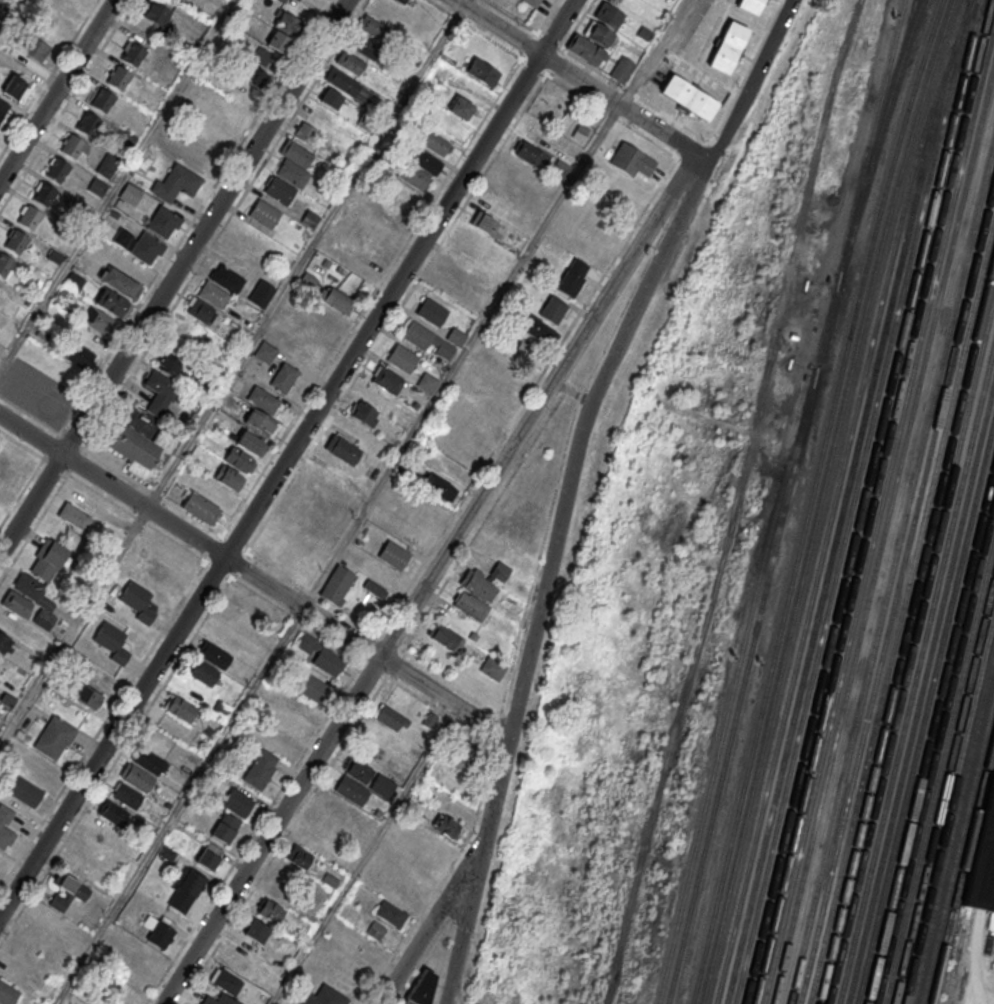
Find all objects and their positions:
building: (283, 0)
building: (399, 1)
building: (532, 3)
building: (750, 6)
building: (63, 7)
building: (155, 12)
building: (608, 14)
building: (286, 22)
building: (374, 27)
building: (278, 41)
building: (592, 43)
building: (364, 46)
building: (35, 48)
building: (728, 48)
road: (661, 53)
road: (514, 54)
building: (133, 55)
building: (260, 57)
building: (349, 62)
building: (622, 69)
building: (483, 72)
building: (254, 75)
road: (48, 77)
building: (119, 79)
road: (753, 79)
road: (580, 80)
building: (341, 81)
building: (15, 87)
road: (56, 90)
building: (330, 98)
park: (550, 99)
building: (689, 99)
building: (102, 101)
road: (66, 105)
building: (459, 107)
building: (3, 108)
building: (88, 124)
building: (307, 135)
building: (436, 143)
railway: (874, 143)
railway: (868, 144)
building: (73, 147)
building: (295, 152)
building: (530, 153)
building: (631, 159)
building: (107, 165)
building: (57, 170)
building: (419, 171)
building: (292, 173)
building: (175, 183)
road: (115, 184)
building: (96, 187)
building: (279, 190)
building: (129, 194)
building: (401, 194)
building: (43, 195)
building: (377, 205)
building: (263, 213)
road: (195, 216)
building: (29, 218)
building: (162, 221)
building: (482, 233)
building: (16, 243)
building: (146, 247)
road: (306, 254)
building: (4, 266)
building: (455, 275)
road: (173, 276)
building: (572, 276)
building: (226, 278)
building: (307, 280)
building: (73, 281)
building: (120, 283)
building: (213, 293)
building: (261, 293)
road: (181, 294)
building: (334, 298)
building: (111, 302)
building: (552, 309)
building: (201, 311)
building: (431, 312)
building: (99, 320)
building: (540, 331)
building: (433, 340)
building: (513, 340)
building: (264, 351)
building: (78, 355)
building: (402, 357)
road: (462, 357)
building: (168, 364)
building: (479, 375)
building: (283, 376)
building: (387, 379)
building: (427, 382)
building: (160, 392)
building: (263, 399)
building: (364, 413)
road: (29, 414)
building: (261, 422)
building: (249, 442)
road: (21, 445)
building: (342, 448)
road: (82, 449)
building: (144, 450)
road: (288, 458)
building: (238, 459)
building: (228, 477)
building: (438, 487)
road: (21, 493)
railway: (833, 499)
railway: (808, 500)
railway: (819, 500)
railway: (851, 501)
railway: (860, 502)
railway: (871, 502)
building: (201, 507)
railway: (877, 512)
building: (73, 517)
road: (136, 518)
railway: (836, 526)
road: (34, 528)
railway: (882, 532)
road: (247, 553)
building: (394, 556)
building: (48, 560)
railway: (891, 568)
road: (550, 570)
building: (162, 574)
road: (433, 576)
road: (254, 577)
building: (337, 586)
building: (480, 590)
railway: (896, 590)
building: (30, 600)
building: (138, 602)
road: (325, 602)
railway: (900, 609)
road: (73, 623)
railway: (904, 628)
building: (445, 637)
building: (4, 642)
building: (112, 643)
railway: (750, 646)
railway: (909, 647)
building: (213, 653)
building: (321, 656)
building: (493, 668)
railway: (915, 670)
building: (202, 672)
building: (312, 689)
railway: (920, 690)
building: (87, 696)
road: (156, 696)
building: (179, 707)
railway: (924, 710)
building: (390, 717)
building: (430, 719)
road: (103, 726)
railway: (929, 731)
railway: (720, 734)
building: (55, 738)
railway: (933, 750)
building: (466, 753)
building: (147, 759)
railway: (938, 767)
building: (357, 769)
building: (260, 770)
building: (136, 778)
building: (382, 786)
railway: (943, 789)
building: (22, 790)
building: (352, 790)
building: (127, 797)
building: (238, 804)
road: (179, 805)
road: (270, 807)
railway: (947, 808)
building: (114, 814)
building: (323, 822)
building: (5, 826)
building: (447, 826)
building: (225, 828)
railway: (952, 828)
building: (314, 842)
railway: (956, 846)
building: (167, 854)
road: (367, 855)
building: (208, 856)
building: (298, 857)
building: (982, 858)
railway: (961, 867)
building: (186, 890)
building: (66, 891)
building: (269, 911)
building: (391, 914)
road: (419, 918)
road: (434, 919)
building: (376, 930)
building: (256, 931)
building: (157, 934)
road: (425, 962)
building: (7, 994)
building: (326, 996)
building: (218, 1000)

